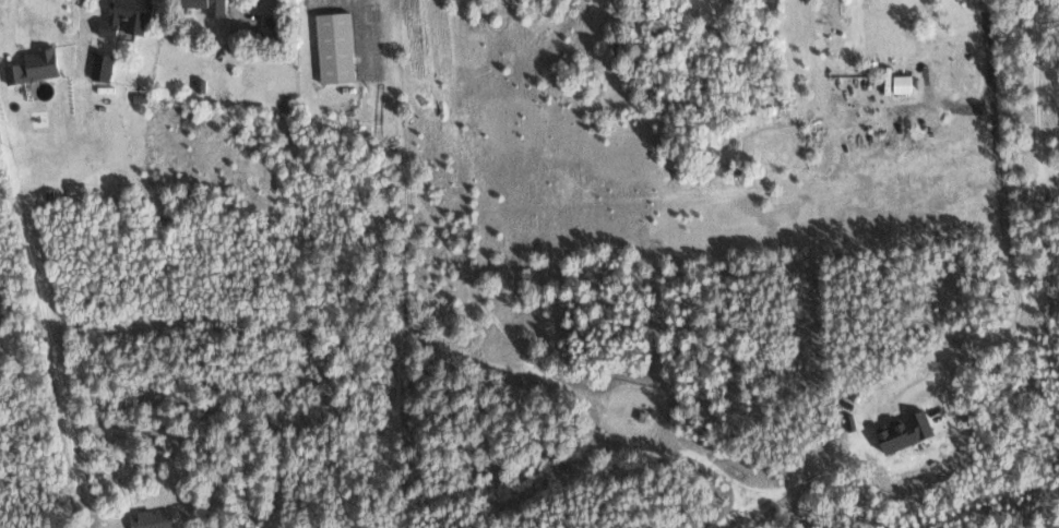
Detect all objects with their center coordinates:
building: (202, 7)
building: (124, 17)
building: (332, 47)
building: (35, 65)
building: (100, 67)
building: (901, 83)
building: (200, 85)
building: (378, 108)
road: (1009, 189)
building: (901, 430)
road: (944, 497)
building: (150, 518)

